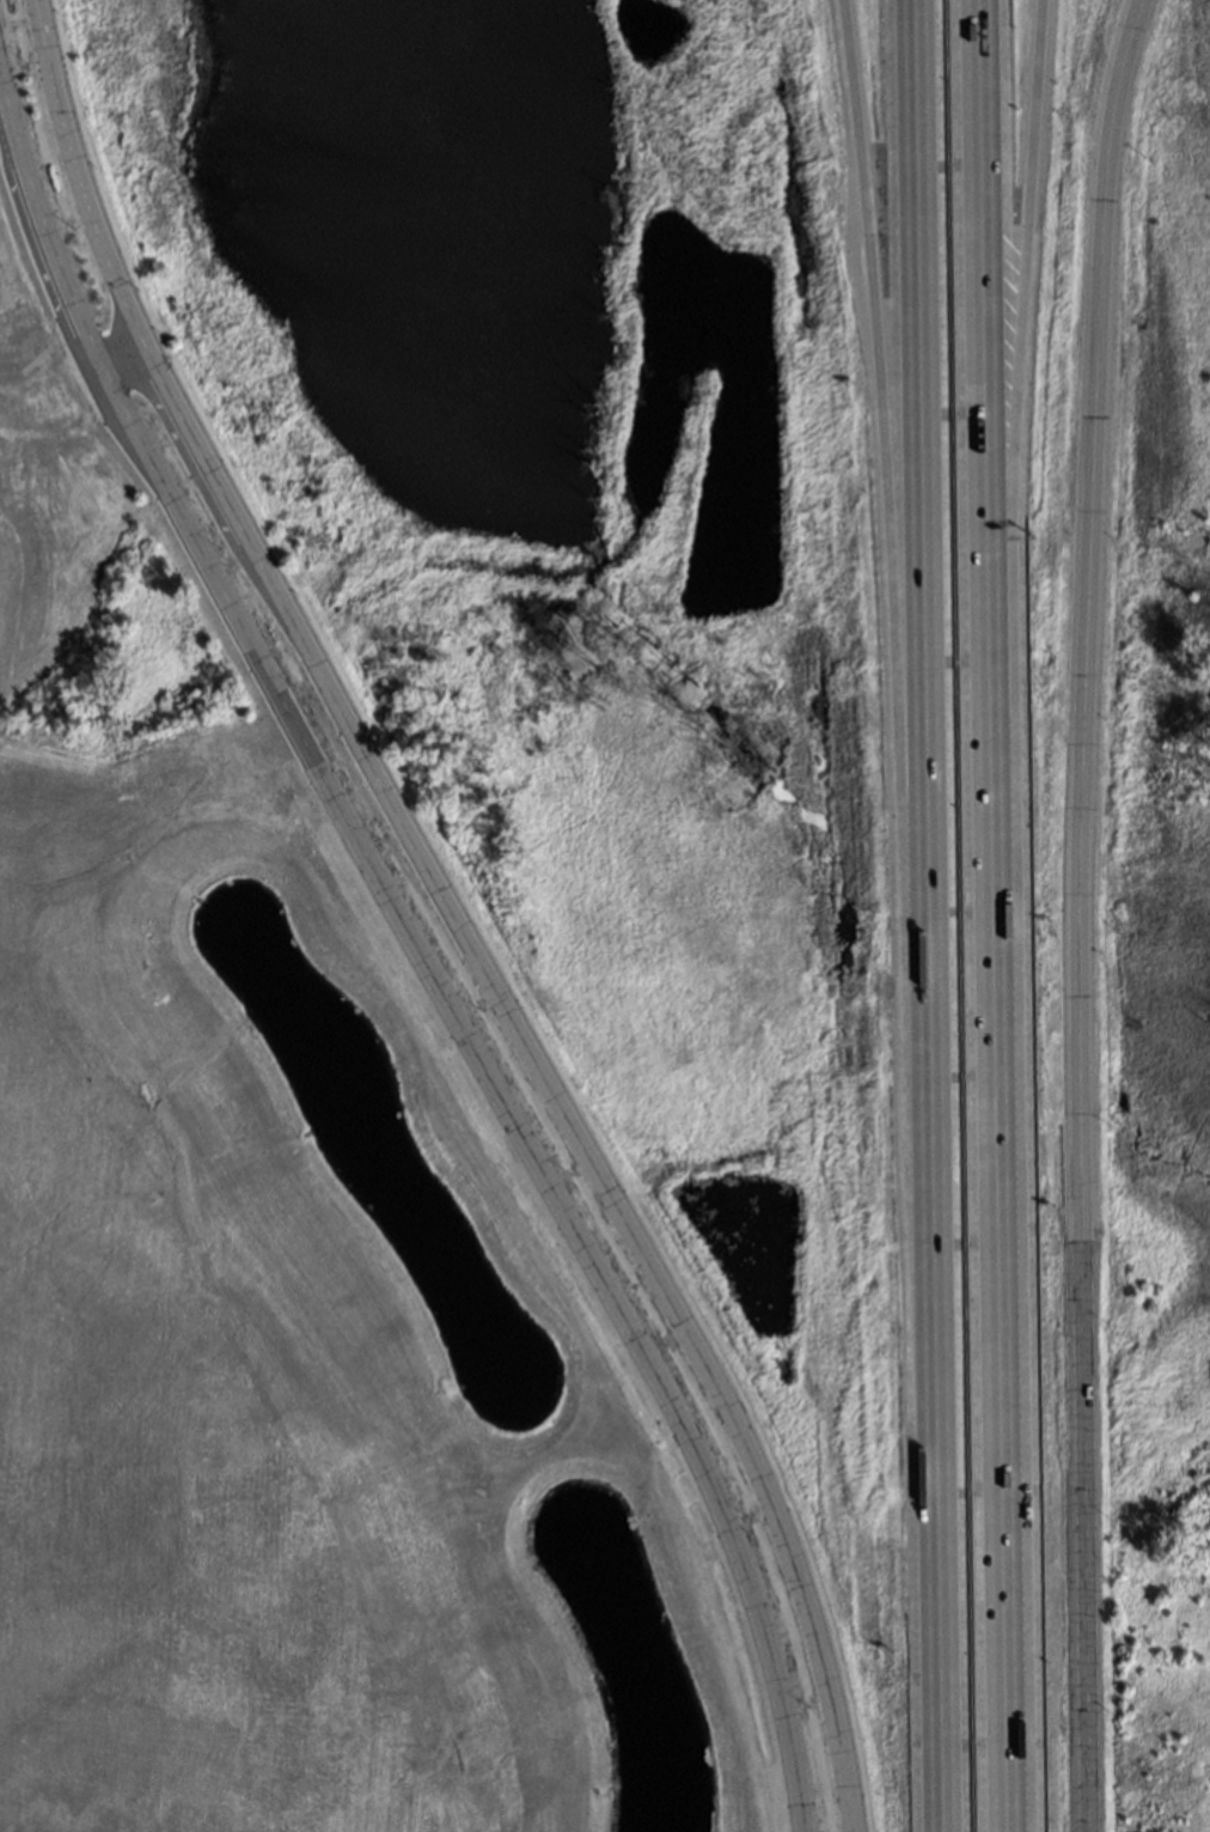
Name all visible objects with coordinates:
road: (80, 175)
road: (41, 220)
road: (112, 359)
road: (983, 443)
road: (1016, 443)
road: (888, 448)
road: (221, 492)
road: (302, 719)
road: (1080, 913)
road: (924, 915)
road: (495, 1081)
road: (622, 1218)
road: (1004, 1359)

